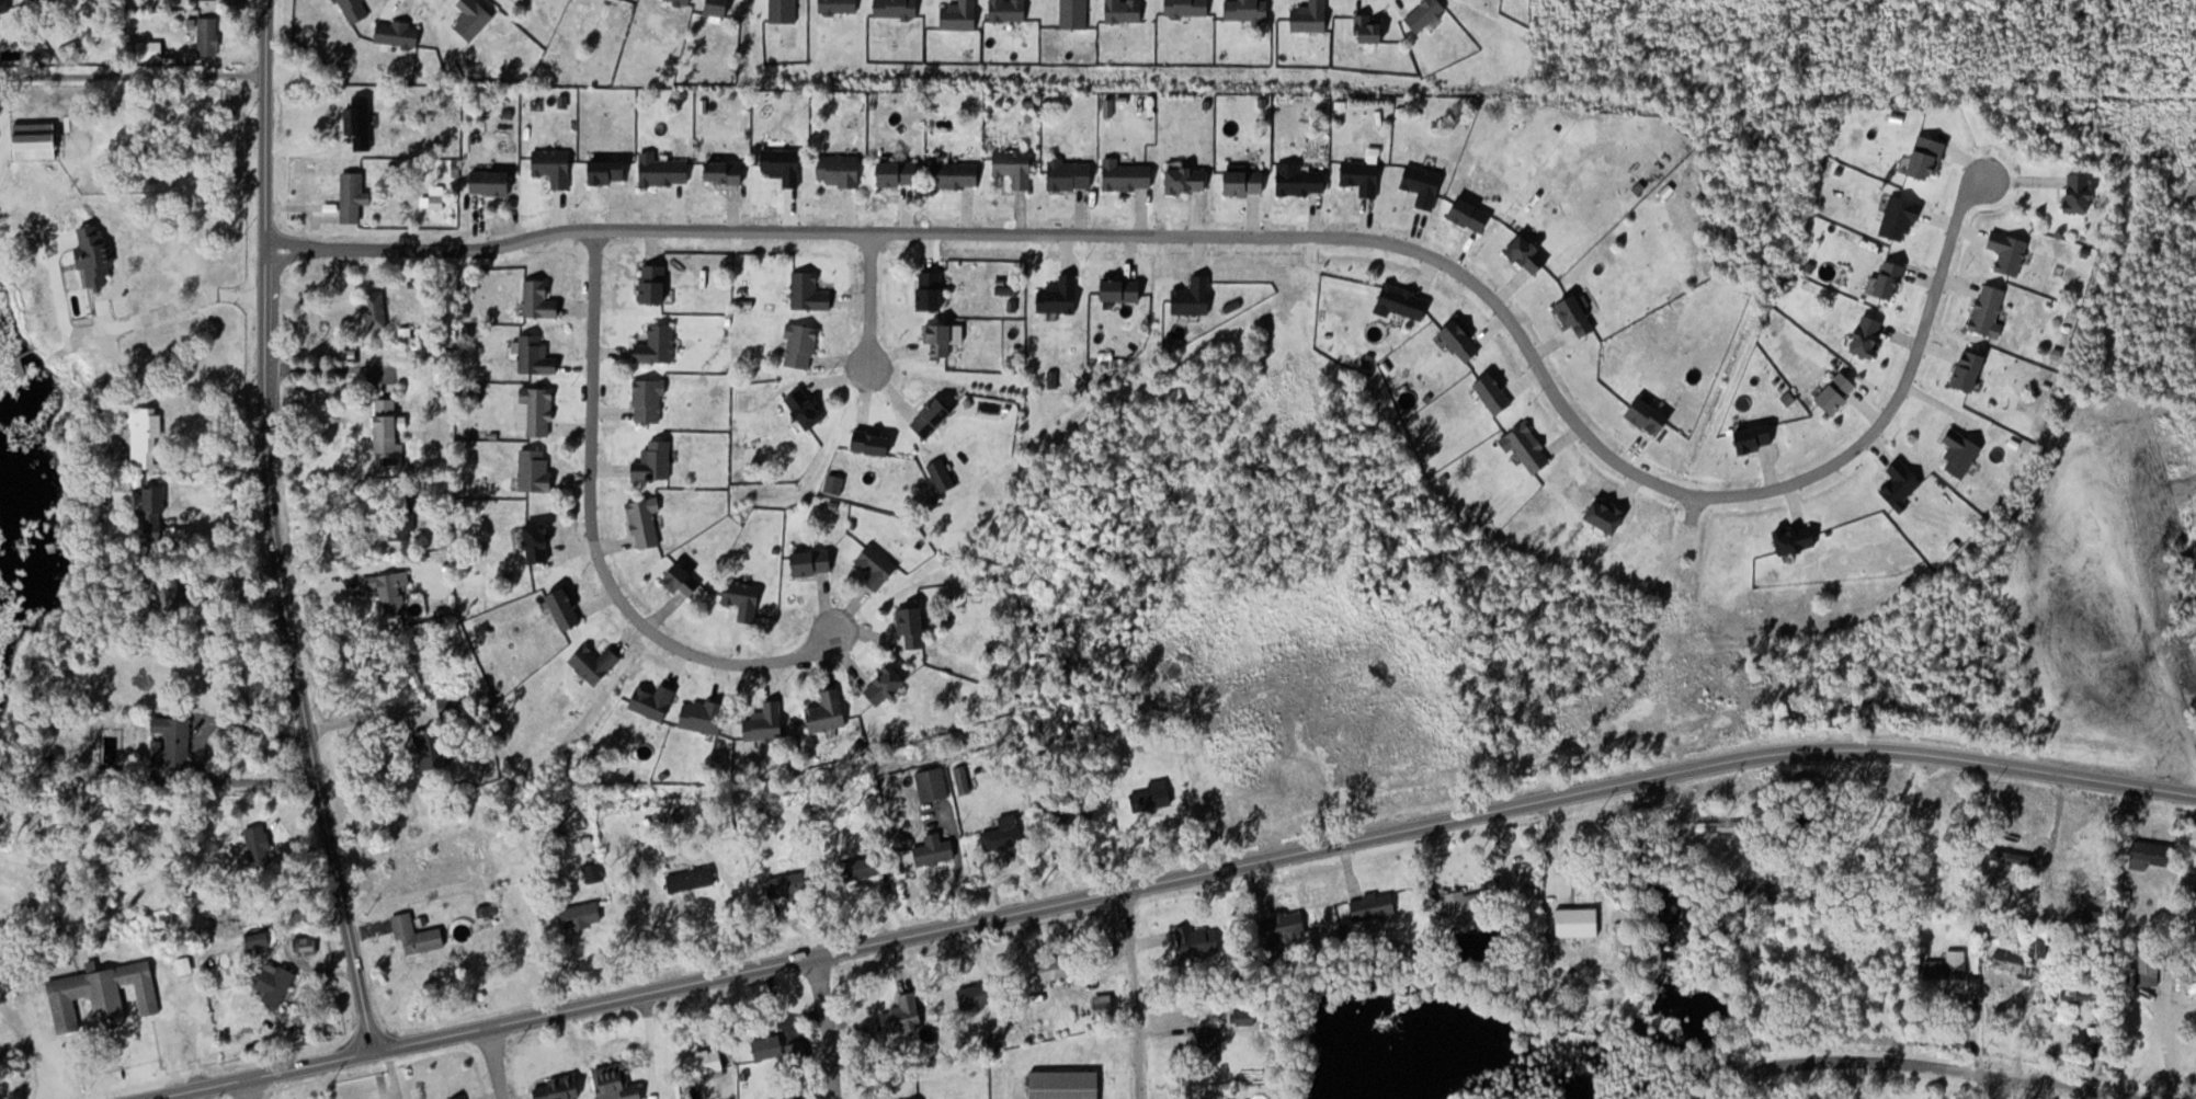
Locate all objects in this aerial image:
building: (39, 0)
building: (54, 1)
building: (4, 5)
building: (209, 35)
building: (145, 48)
road: (132, 73)
building: (362, 122)
building: (37, 140)
building: (1930, 157)
building: (785, 164)
building: (555, 165)
building: (1015, 165)
building: (664, 170)
building: (841, 170)
building: (611, 171)
building: (727, 171)
building: (901, 172)
building: (956, 172)
building: (1072, 174)
building: (1128, 174)
building: (1364, 176)
building: (1192, 180)
building: (1301, 180)
building: (493, 182)
building: (1247, 182)
building: (1424, 184)
building: (2083, 193)
building: (354, 196)
building: (1474, 214)
building: (1902, 218)
road: (1271, 234)
building: (2010, 252)
building: (1531, 253)
building: (98, 255)
building: (1893, 279)
building: (657, 284)
building: (933, 290)
building: (1124, 290)
building: (811, 293)
building: (1060, 296)
building: (1195, 297)
road: (868, 298)
building: (542, 300)
building: (1404, 302)
building: (1990, 309)
building: (377, 310)
building: (1578, 316)
building: (1871, 336)
building: (943, 340)
building: (1464, 341)
building: (659, 344)
building: (803, 346)
building: (537, 356)
building: (1972, 370)
building: (1839, 392)
building: (1498, 393)
building: (650, 400)
building: (809, 408)
building: (541, 410)
building: (1652, 416)
building: (934, 419)
building: (387, 427)
building: (147, 438)
building: (1757, 439)
building: (874, 443)
building: (1528, 448)
building: (1962, 453)
building: (656, 461)
building: (536, 470)
building: (944, 474)
building: (1902, 484)
building: (156, 513)
building: (1611, 516)
building: (647, 522)
road: (273, 529)
building: (1800, 539)
road: (593, 540)
building: (541, 541)
building: (815, 562)
building: (878, 565)
building: (685, 581)
building: (385, 589)
building: (179, 598)
building: (744, 598)
building: (568, 609)
building: (915, 626)
building: (596, 663)
building: (887, 684)
building: (655, 700)
building: (452, 705)
building: (829, 711)
building: (704, 714)
building: (767, 722)
building: (172, 742)
building: (434, 746)
building: (963, 779)
building: (1162, 791)
building: (1006, 831)
building: (261, 845)
building: (937, 849)
building: (2152, 852)
building: (867, 866)
building: (693, 878)
building: (1573, 880)
road: (1168, 881)
building: (789, 883)
building: (2195, 888)
building: (1471, 903)
building: (1376, 905)
building: (584, 915)
building: (1285, 924)
building: (419, 935)
building: (1624, 935)
building: (1198, 940)
building: (306, 945)
building: (2041, 946)
building: (2, 947)
building: (2013, 962)
building: (1059, 966)
building: (2151, 966)
building: (1952, 971)
building: (276, 982)
building: (2089, 986)
building: (2192, 987)
building: (103, 993)
road: (1135, 994)
building: (977, 995)
building: (1105, 1005)
building: (908, 1012)
building: (1245, 1016)
road: (827, 1027)
building: (1210, 1034)
building: (800, 1051)
building: (706, 1062)
road: (497, 1064)
road: (1946, 1072)
building: (617, 1083)
building: (1066, 1084)
road: (252, 1088)
building: (561, 1088)
road: (1985, 1089)
building: (460, 1098)

